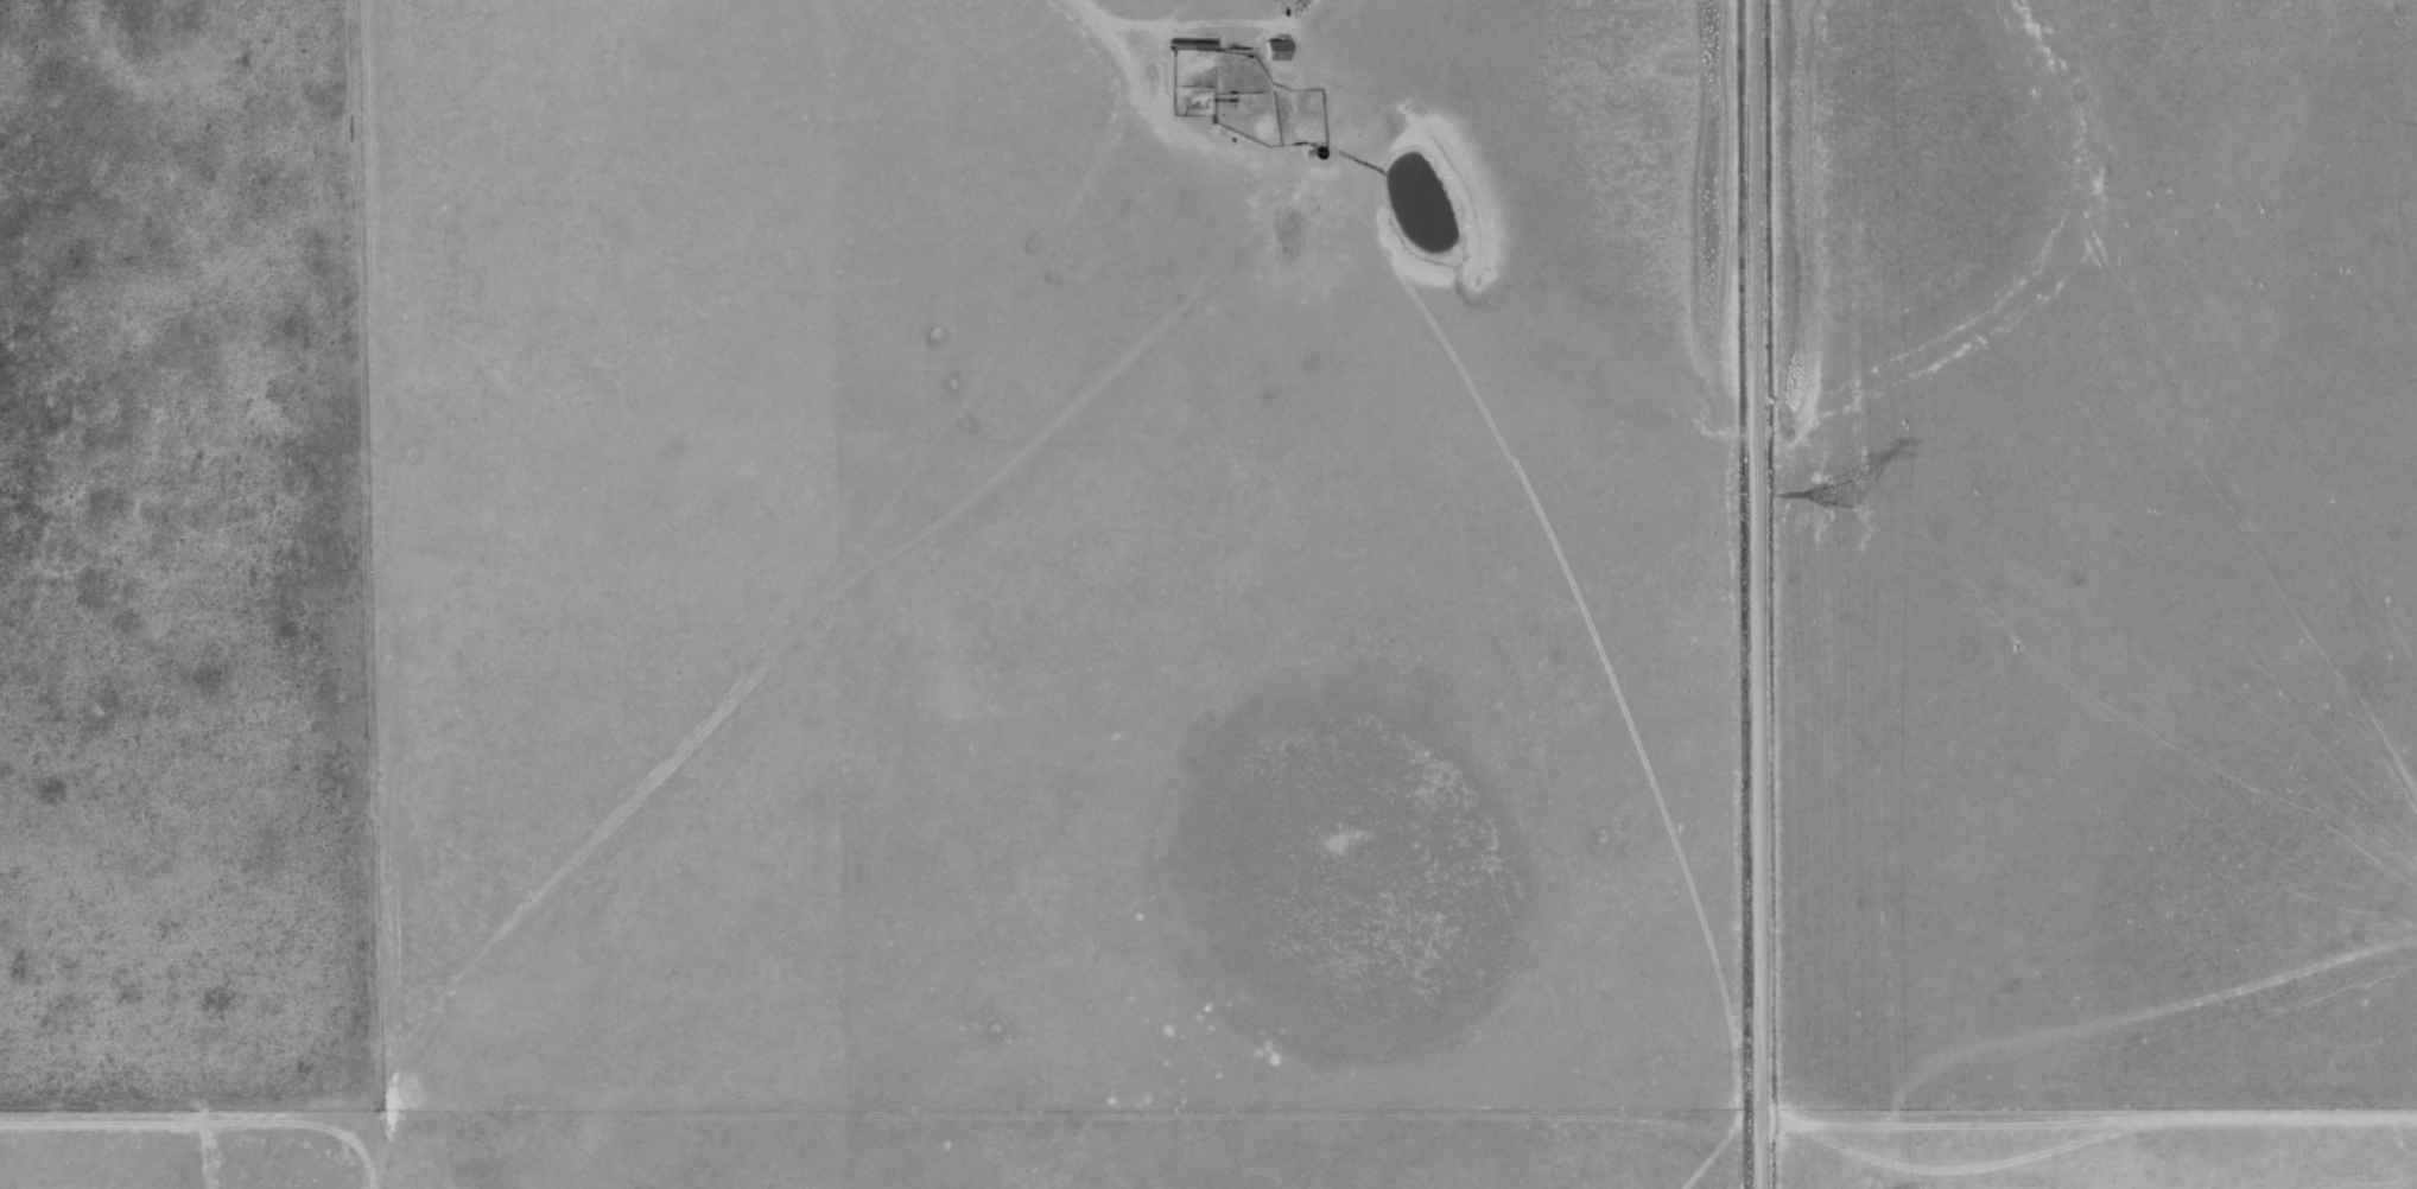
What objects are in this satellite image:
building: (1275, 50)
road: (1152, 82)
power tower: (1838, 494)
road: (1758, 594)

